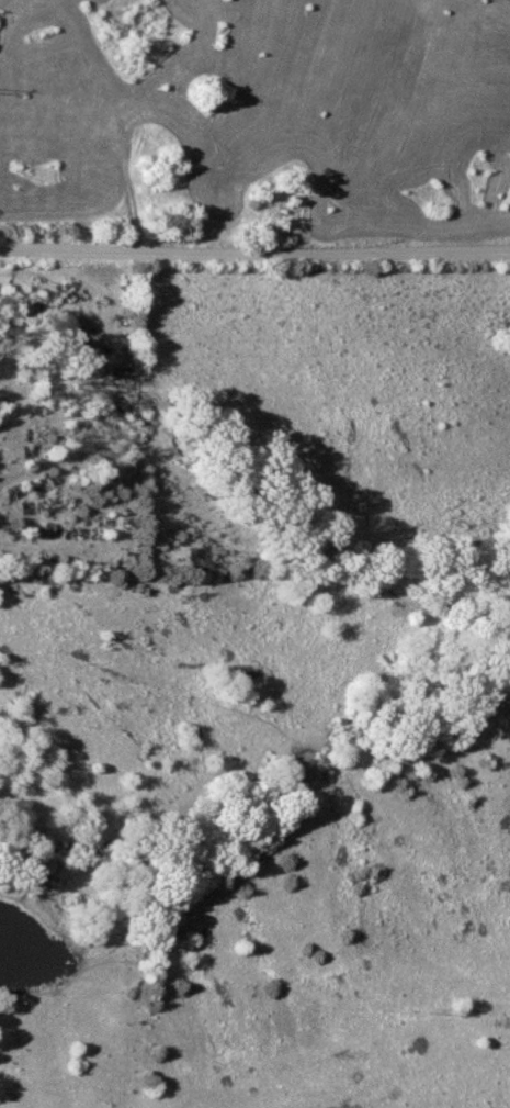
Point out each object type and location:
road: (254, 247)

